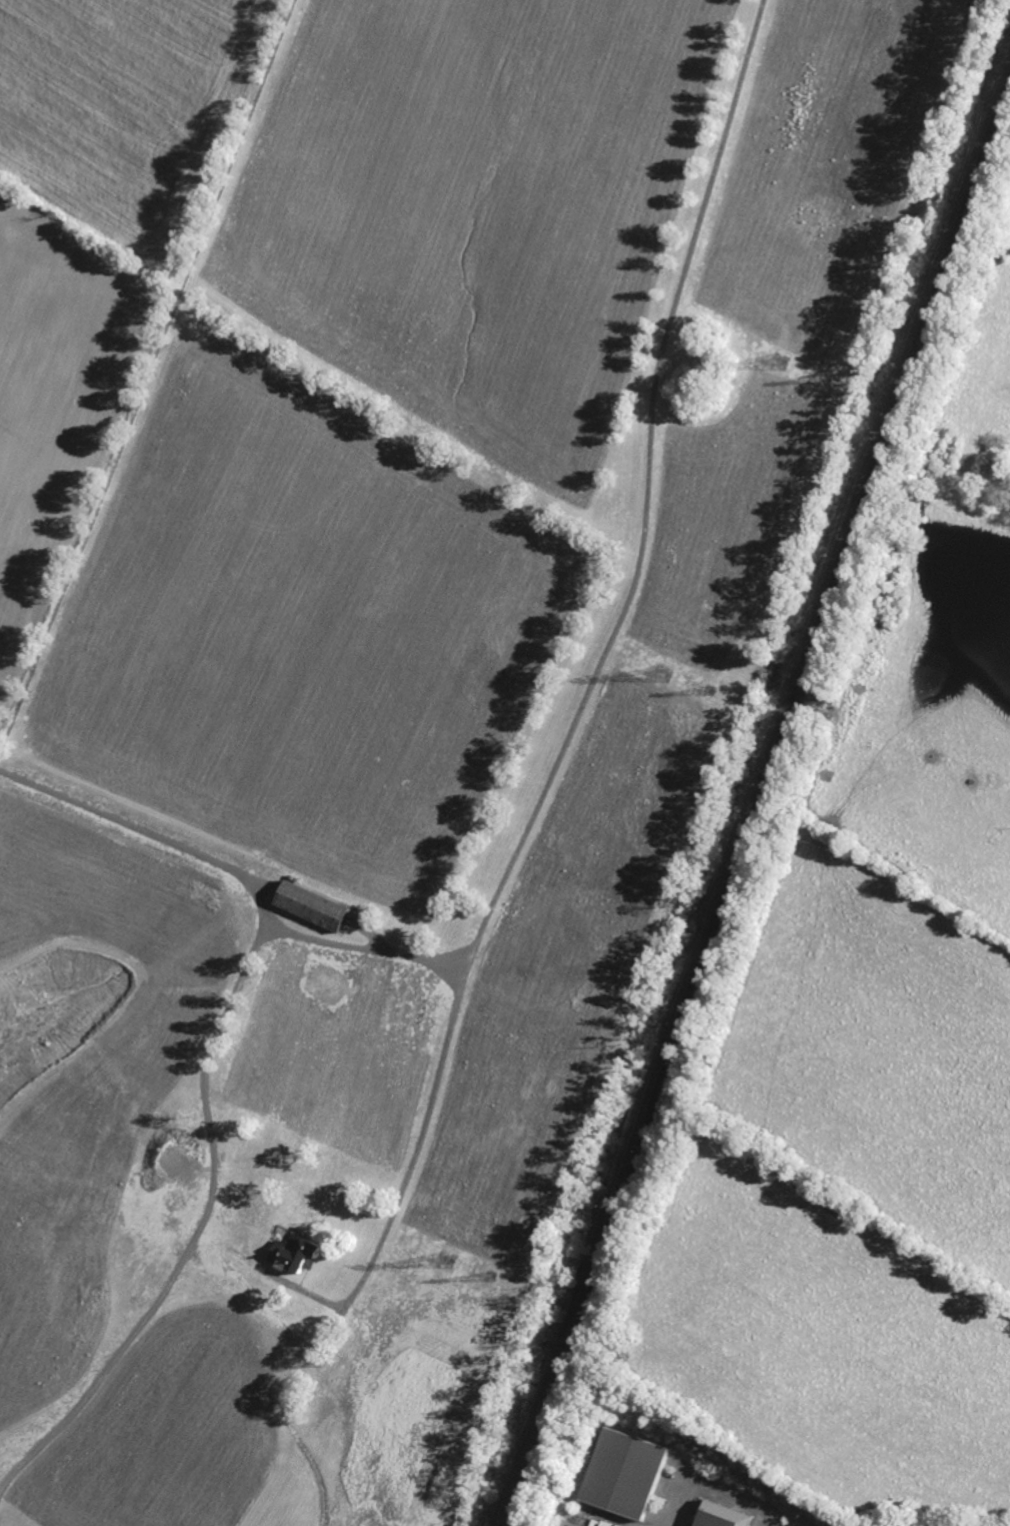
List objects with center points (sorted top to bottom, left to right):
road: (992, 8)
power tower: (785, 365)
power tower: (823, 380)
power tower: (668, 676)
power tower: (715, 692)
road: (582, 709)
railway: (752, 800)
road: (240, 873)
building: (313, 905)
road: (195, 1231)
building: (296, 1253)
power tower: (452, 1266)
power tower: (495, 1281)
building: (622, 1473)
road: (709, 1489)
building: (714, 1519)

